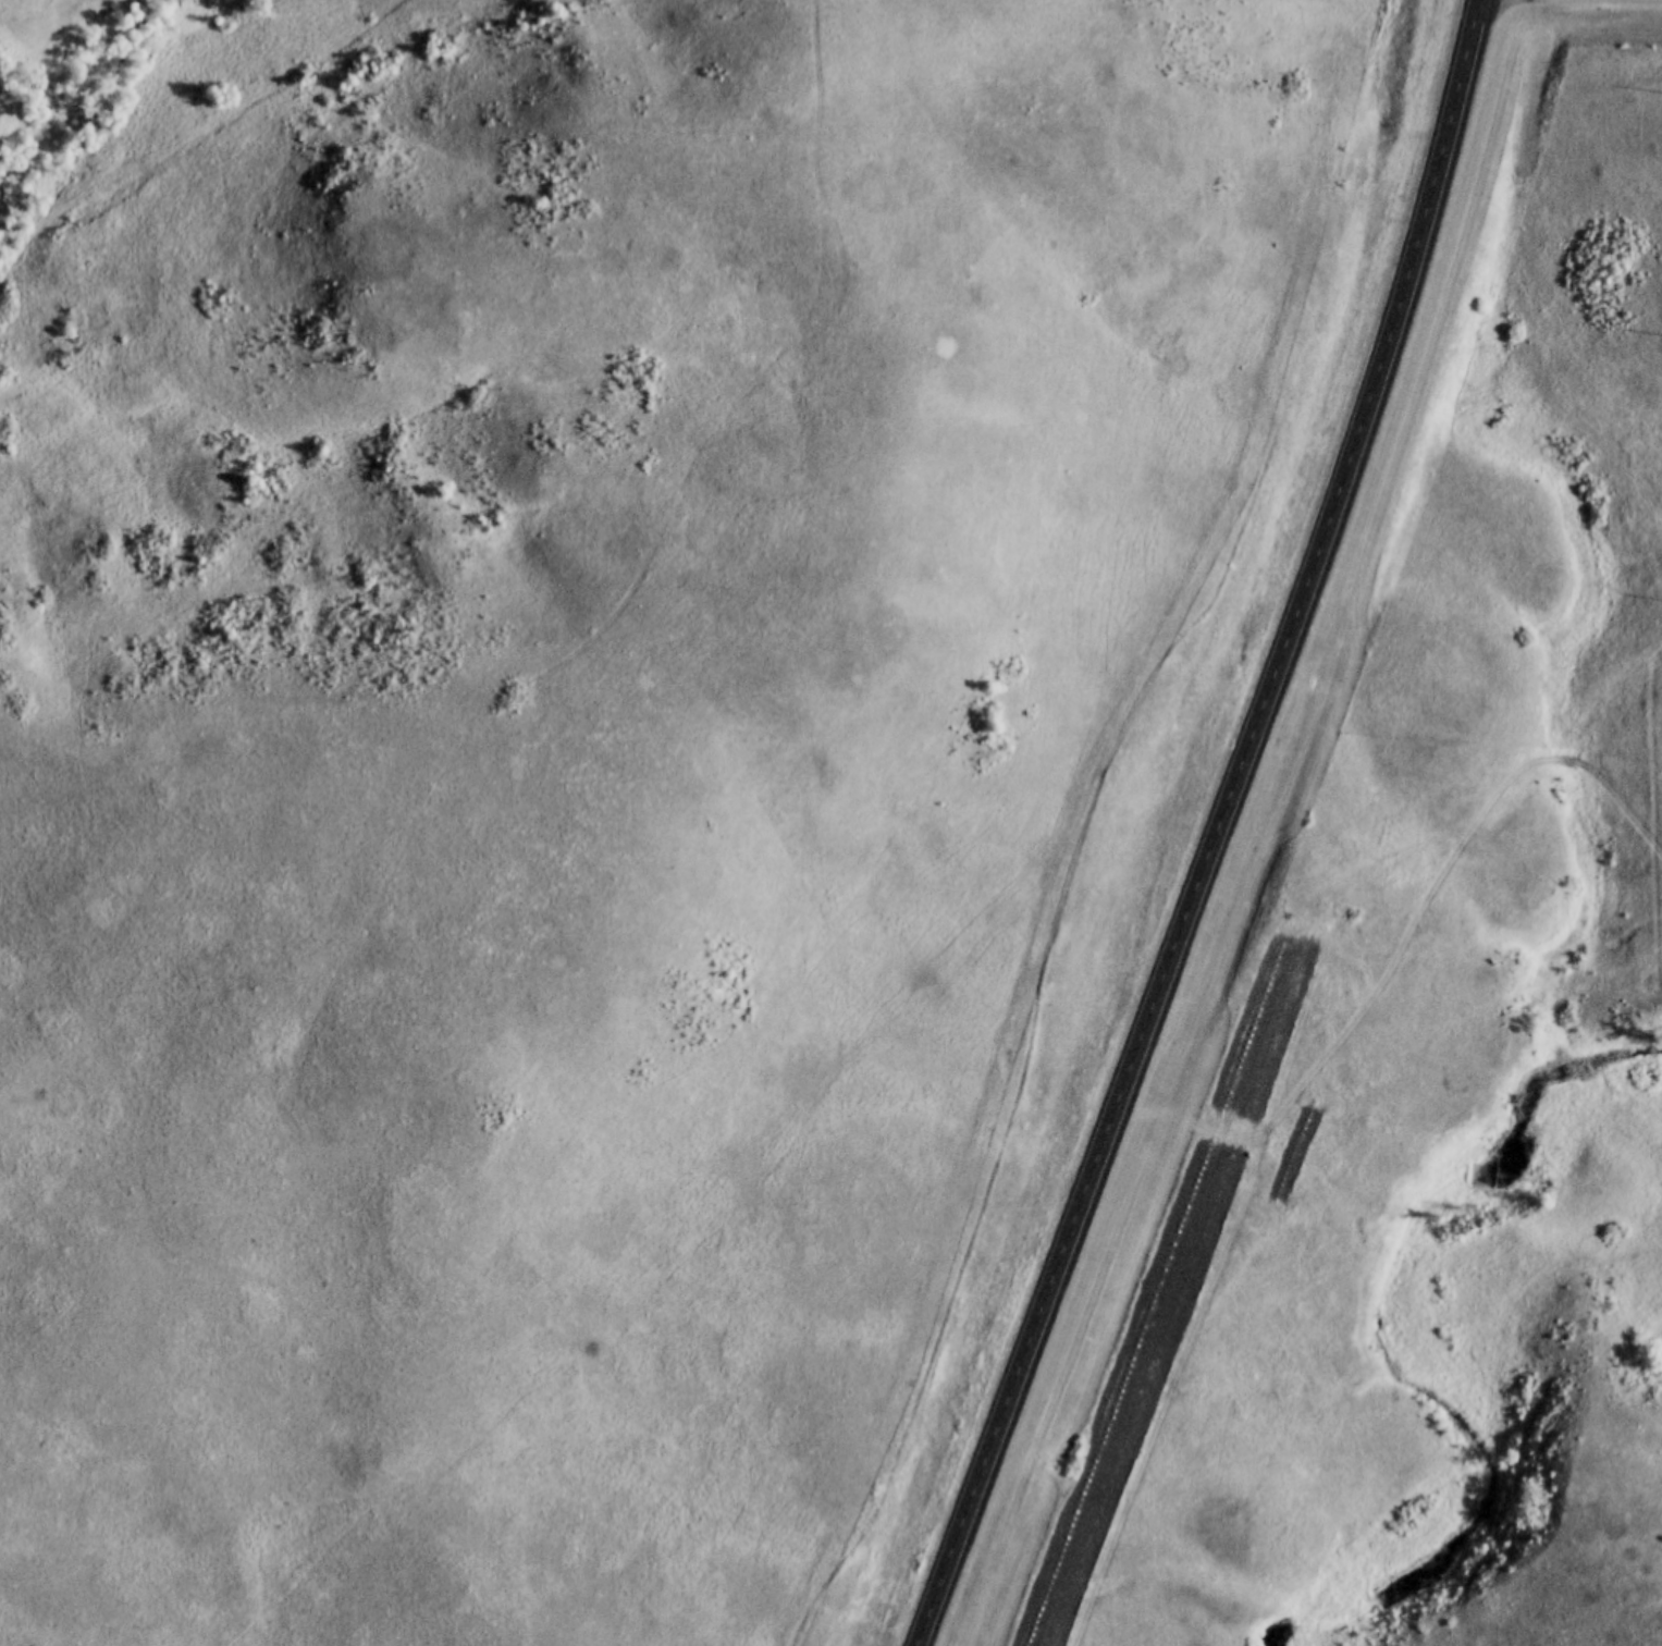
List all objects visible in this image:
road: (1223, 828)

